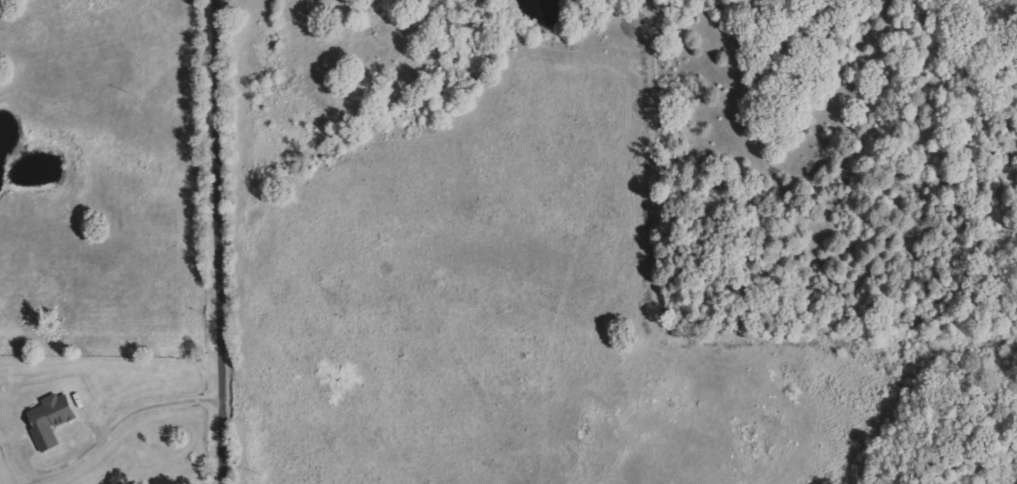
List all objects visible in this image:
road: (223, 241)
road: (122, 414)
building: (54, 419)

